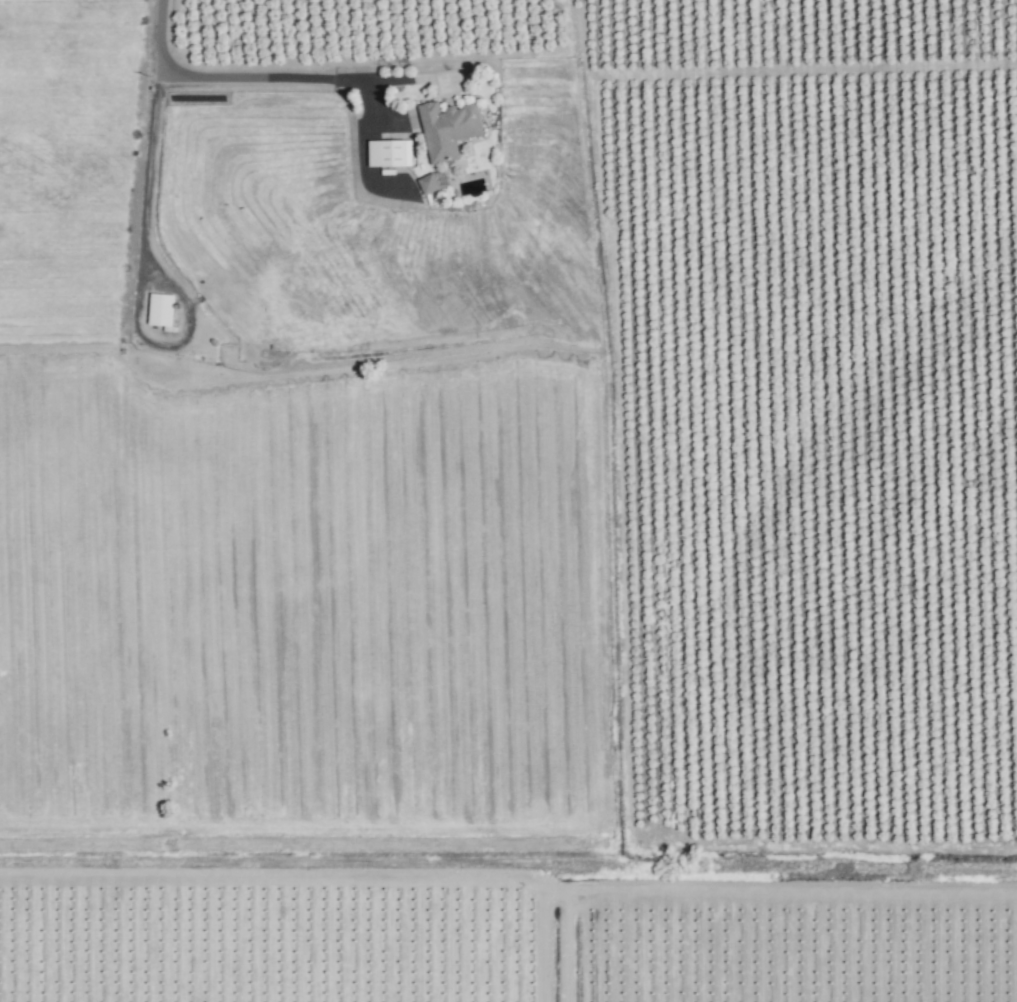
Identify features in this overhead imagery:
road: (218, 76)
building: (448, 130)
building: (389, 154)
building: (428, 184)
building: (161, 310)
crop: (504, 504)

